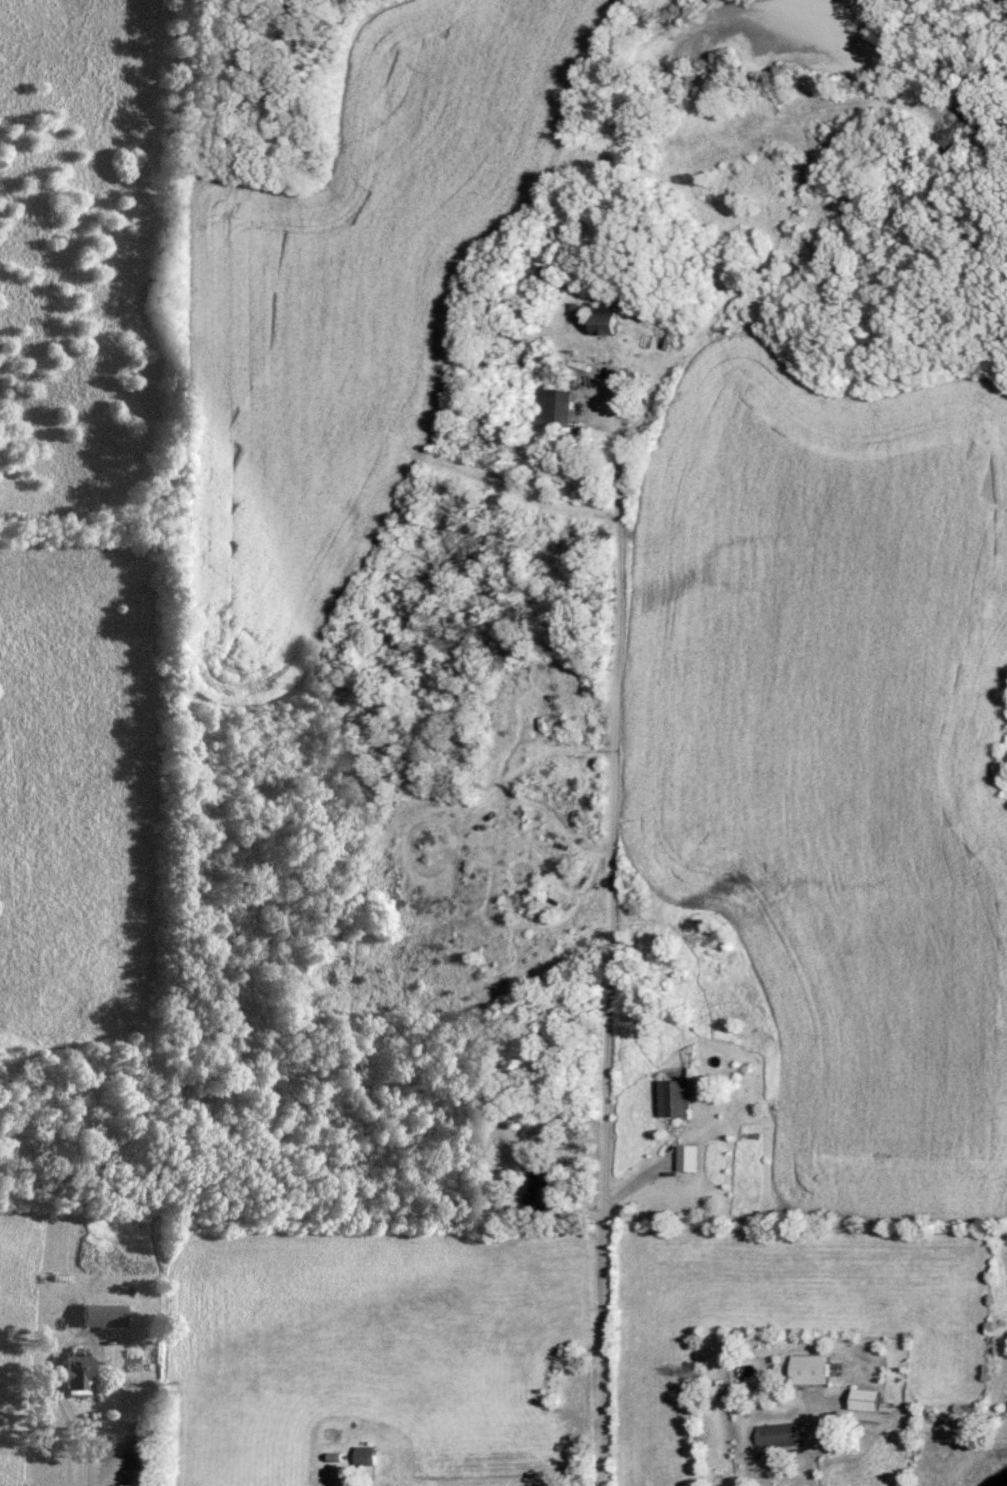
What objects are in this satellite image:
building: (601, 319)
building: (553, 406)
road: (617, 772)
building: (670, 1096)
building: (684, 1157)
building: (540, 1190)
building: (107, 1314)
building: (807, 1368)
building: (82, 1374)
building: (861, 1399)
building: (775, 1434)
building: (362, 1455)

